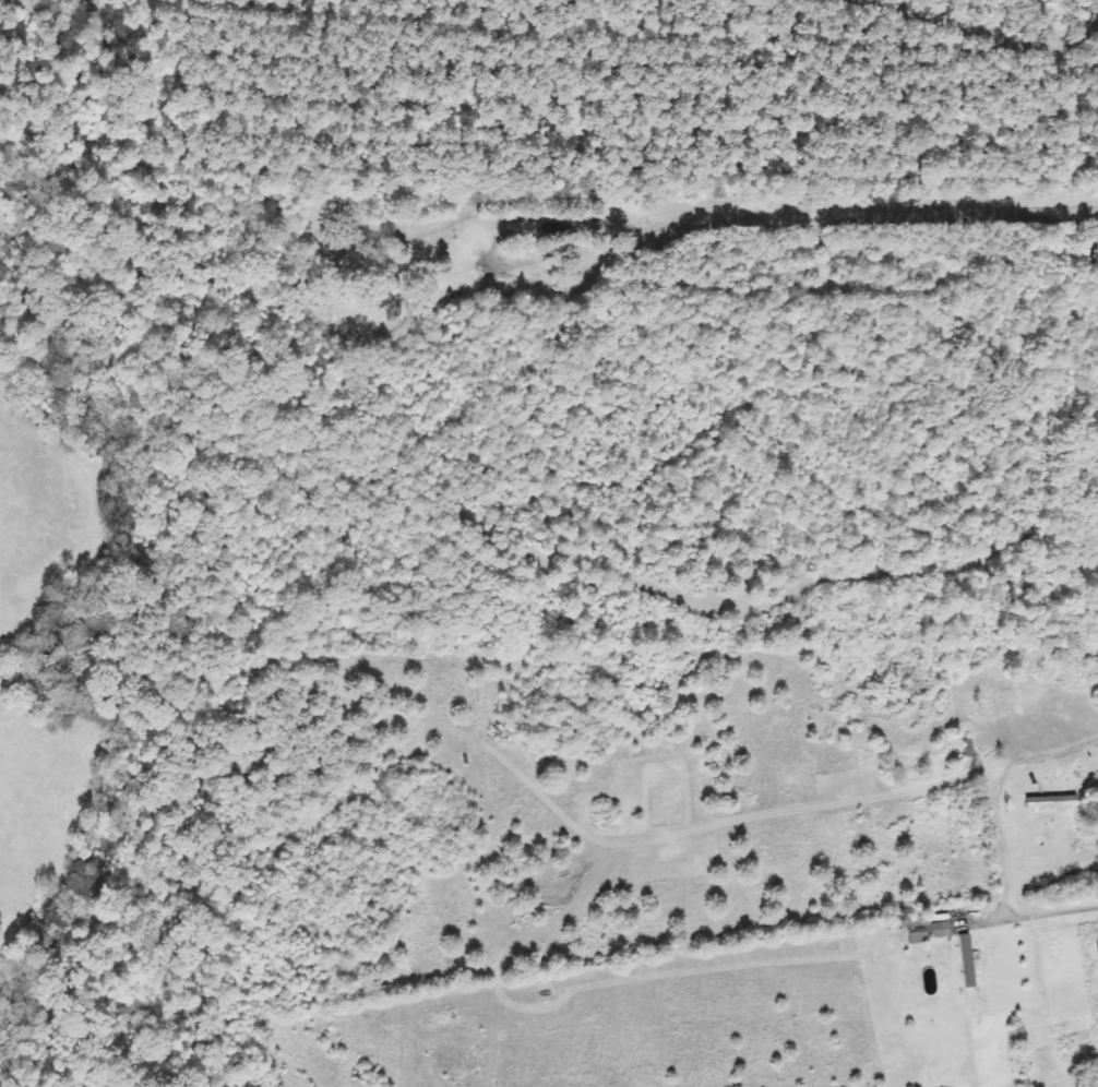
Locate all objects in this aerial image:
building: (1054, 803)
road: (996, 836)
building: (931, 933)
building: (968, 961)

